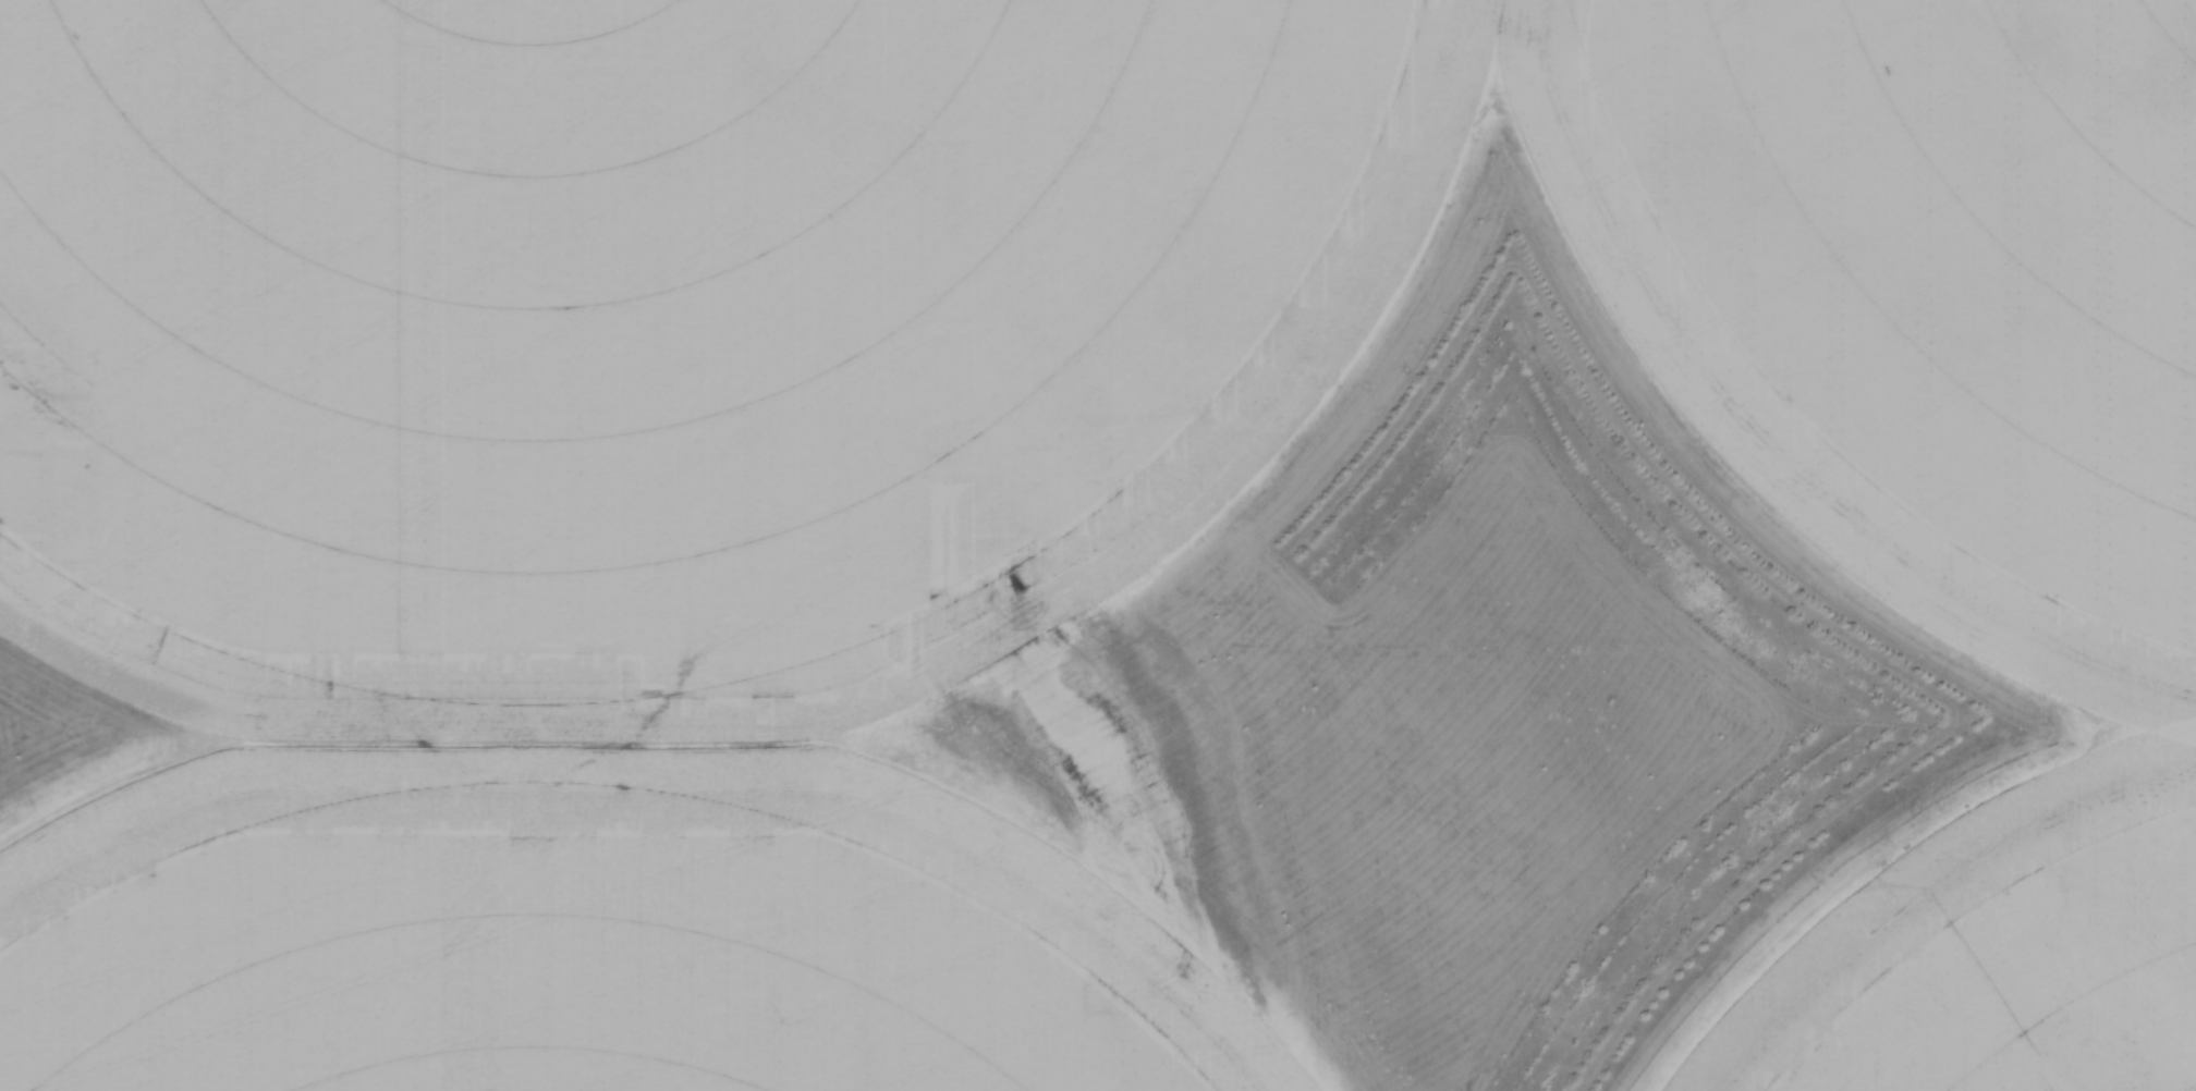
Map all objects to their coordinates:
building: (151, 846)
building: (49, 904)
building: (9, 1074)

